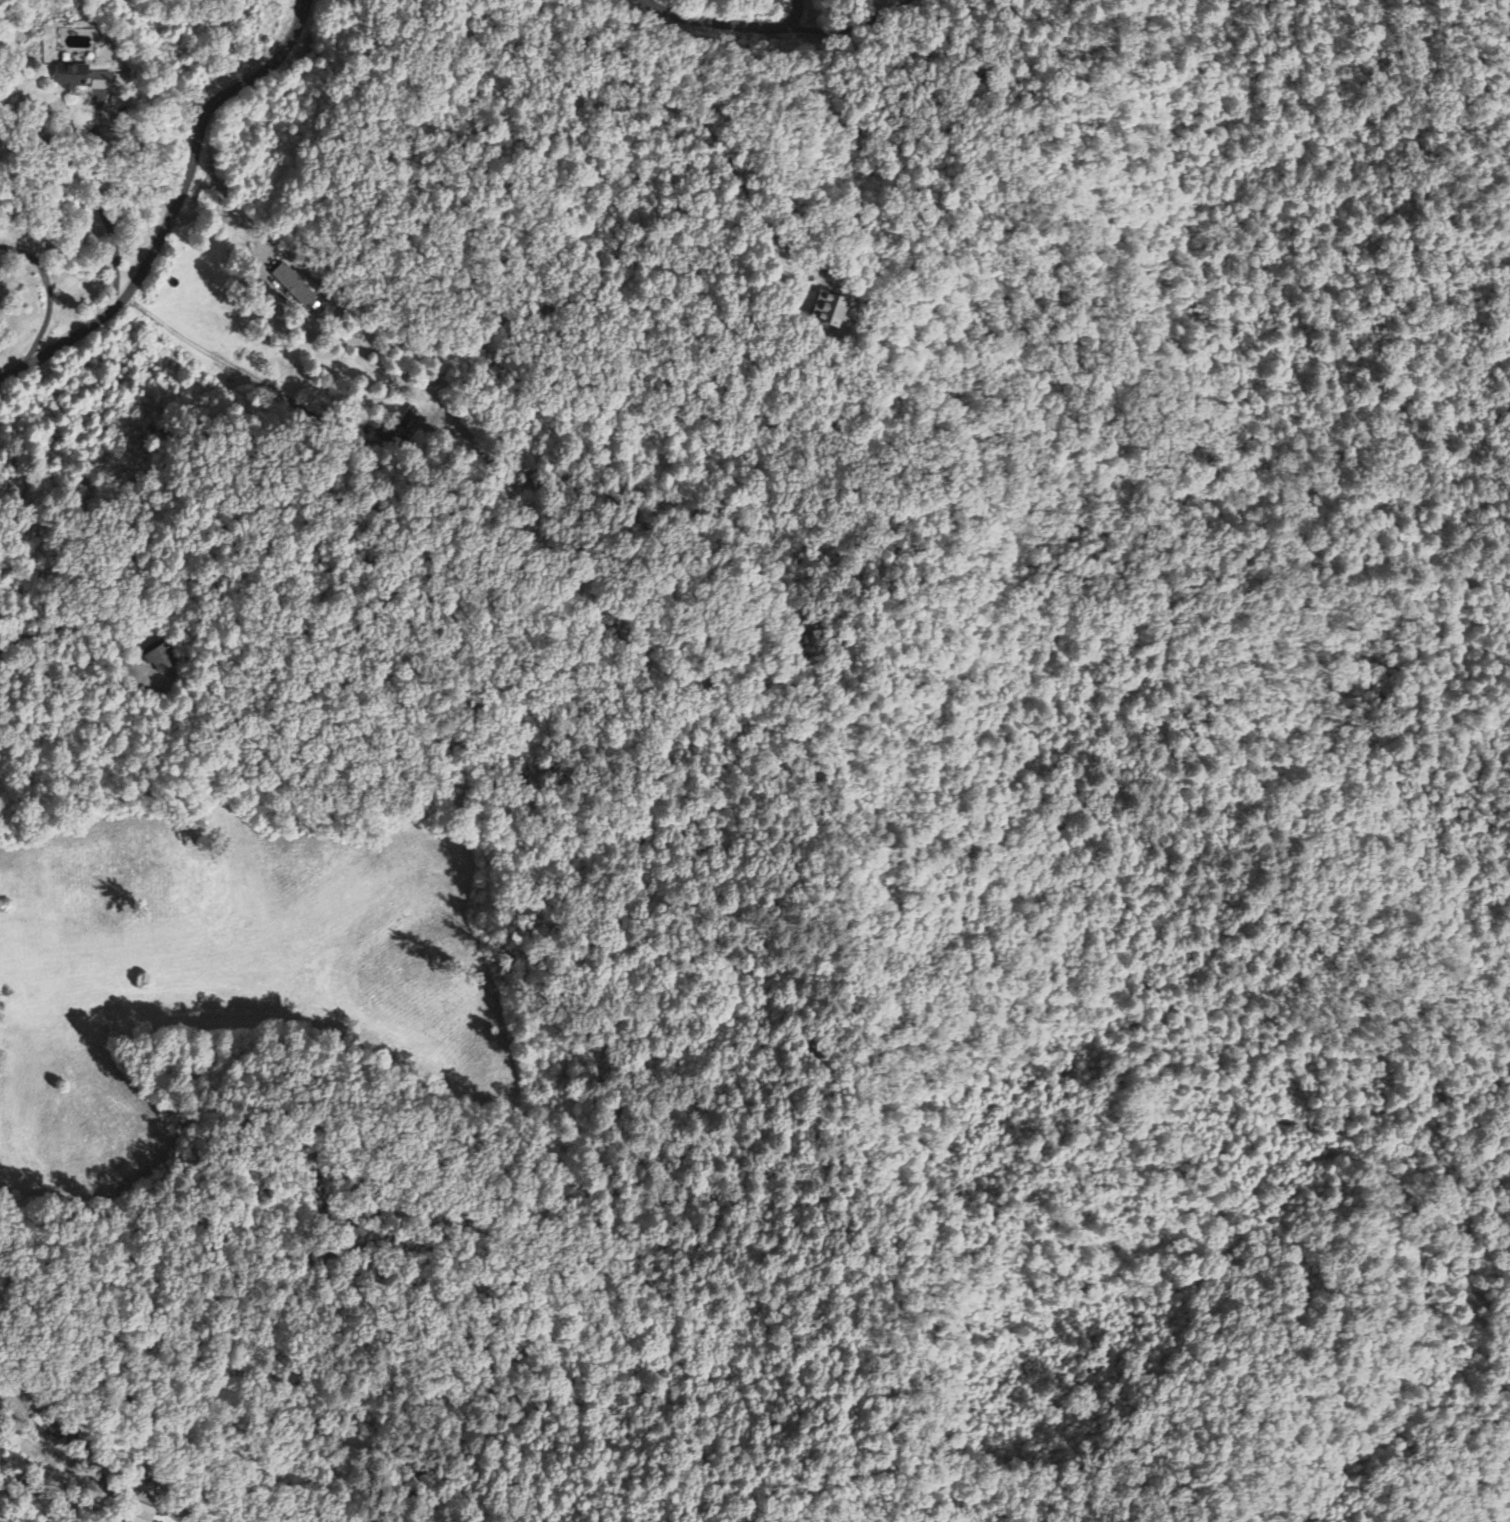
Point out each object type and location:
road: (715, 44)
building: (80, 79)
road: (175, 207)
building: (292, 286)
building: (158, 661)
building: (136, 1513)

